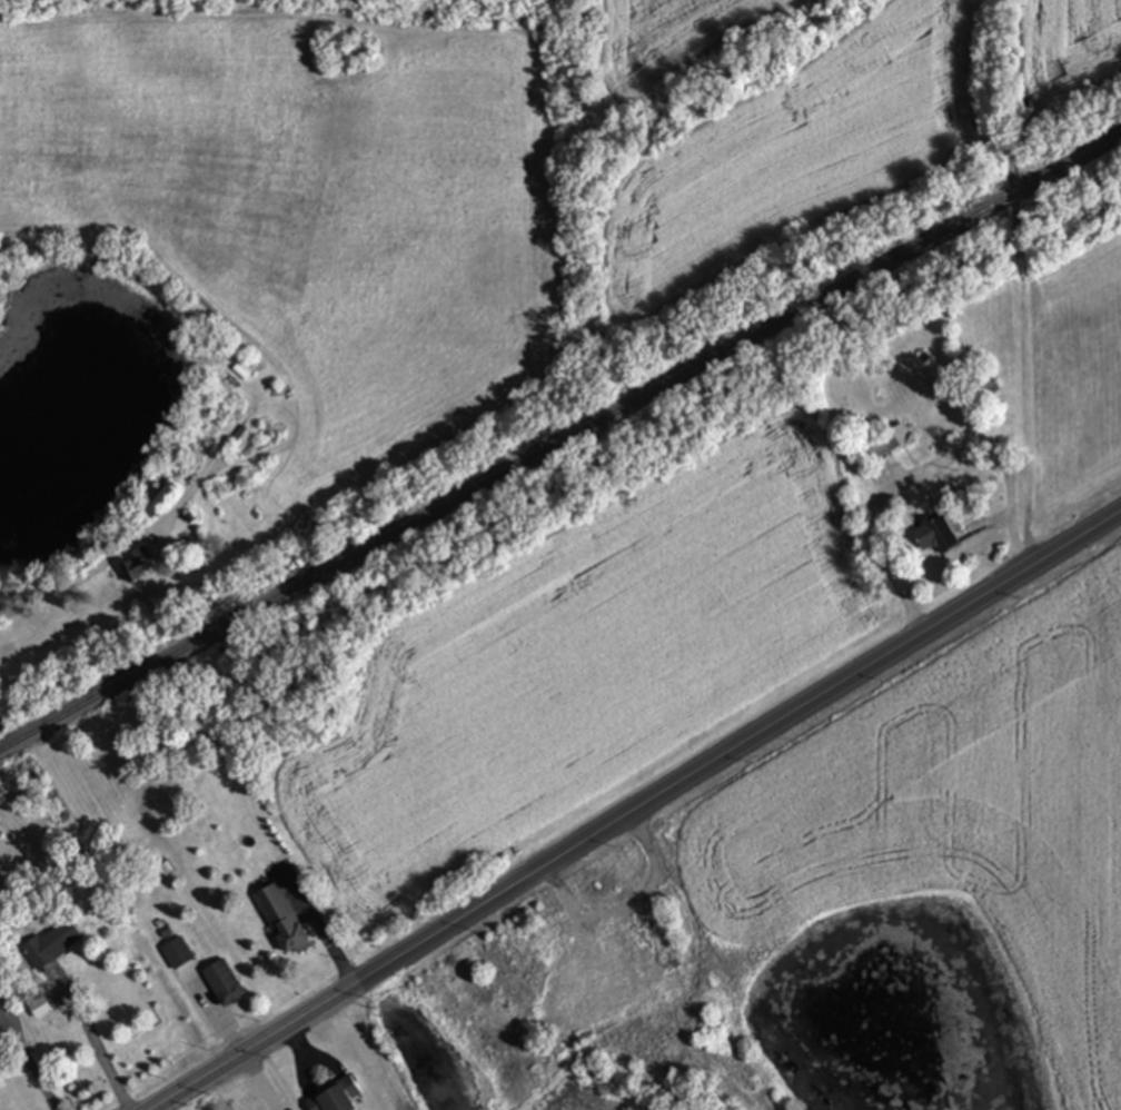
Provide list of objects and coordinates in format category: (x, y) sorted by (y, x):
road: (1021, 271)
building: (990, 385)
railway: (559, 443)
building: (884, 444)
road: (925, 469)
building: (159, 495)
building: (938, 535)
road: (119, 554)
building: (138, 565)
road: (735, 749)
building: (282, 921)
building: (519, 943)
building: (52, 944)
building: (641, 955)
building: (225, 983)
road: (255, 1048)
road: (97, 1049)
park: (716, 1086)
building: (336, 1097)

